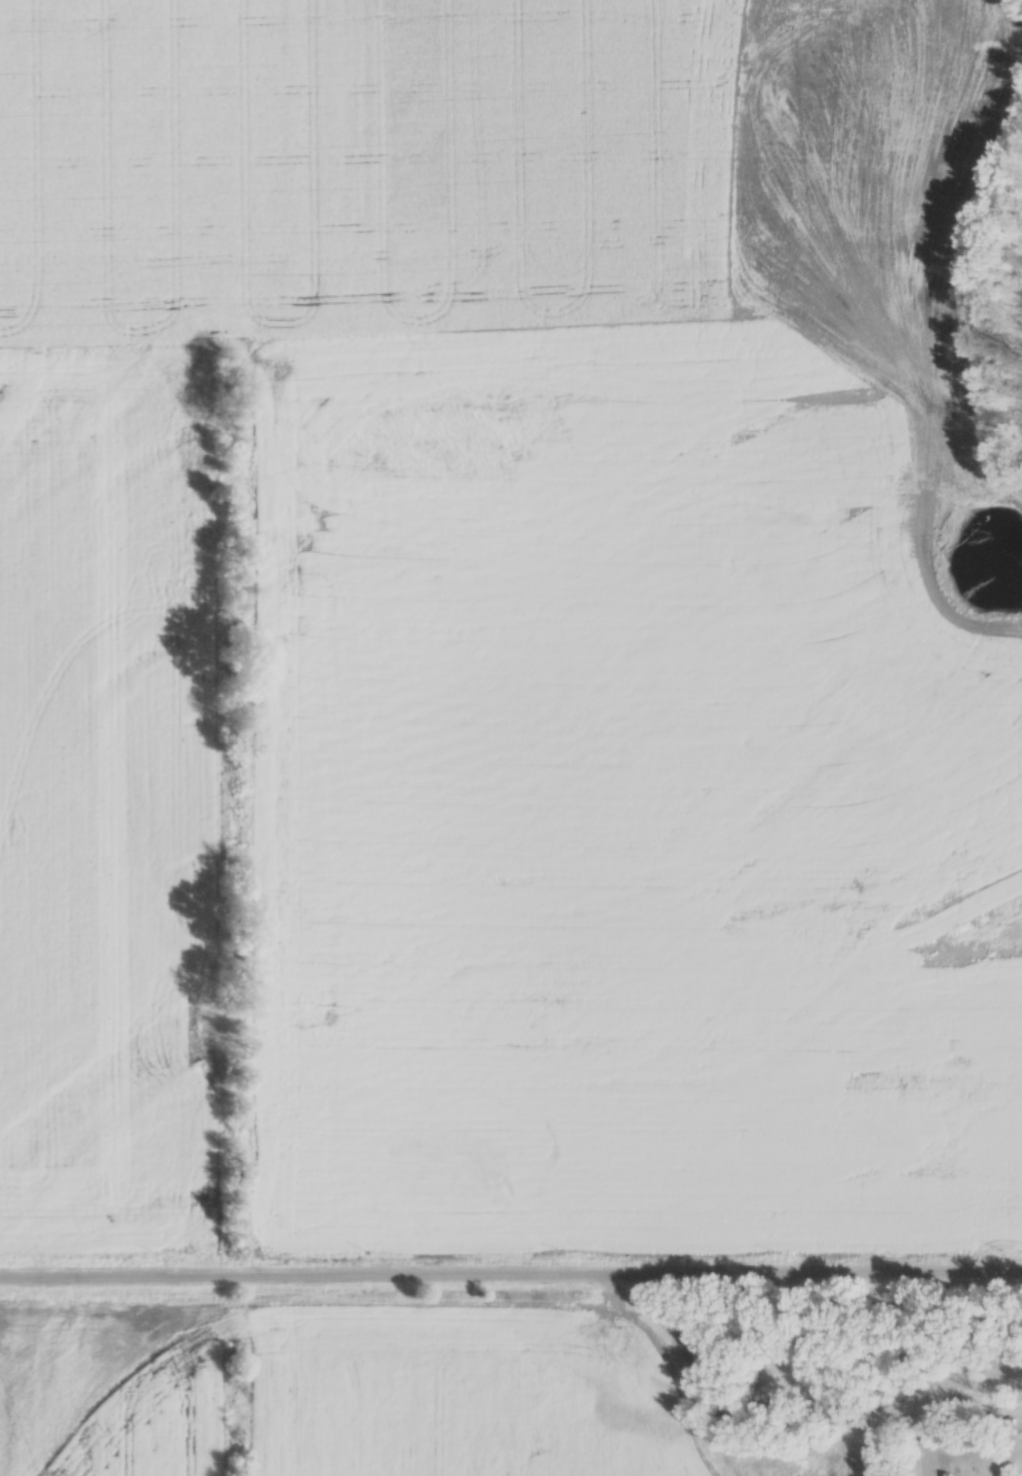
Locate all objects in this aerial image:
road: (510, 1275)

